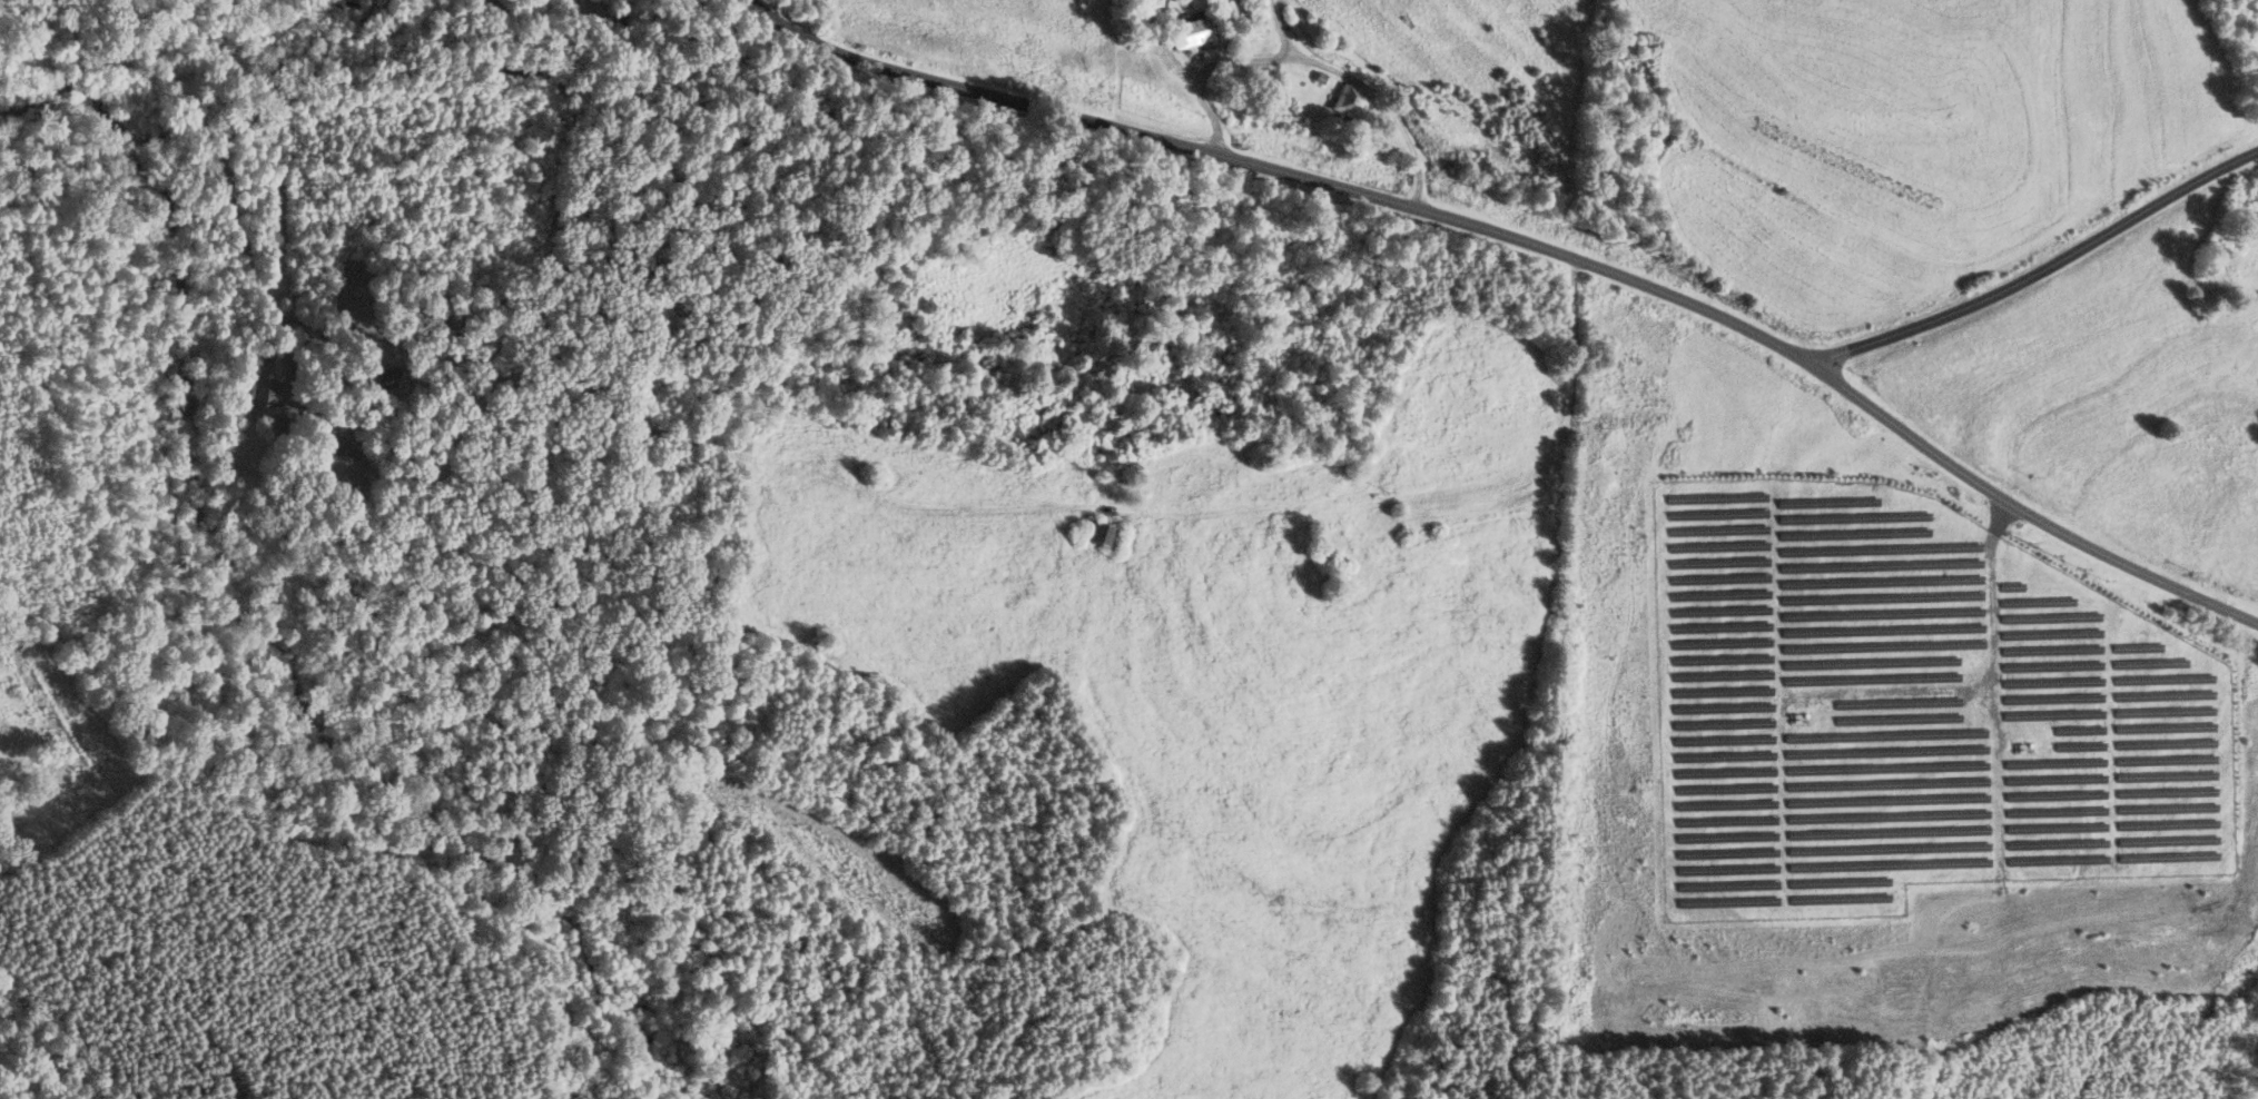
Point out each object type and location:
building: (1190, 30)
road: (1225, 62)
road: (303, 90)
building: (1350, 100)
road: (1386, 100)
road: (1541, 246)
road: (2042, 270)
building: (263, 390)
road: (1536, 456)
building: (338, 468)
building: (1100, 532)

